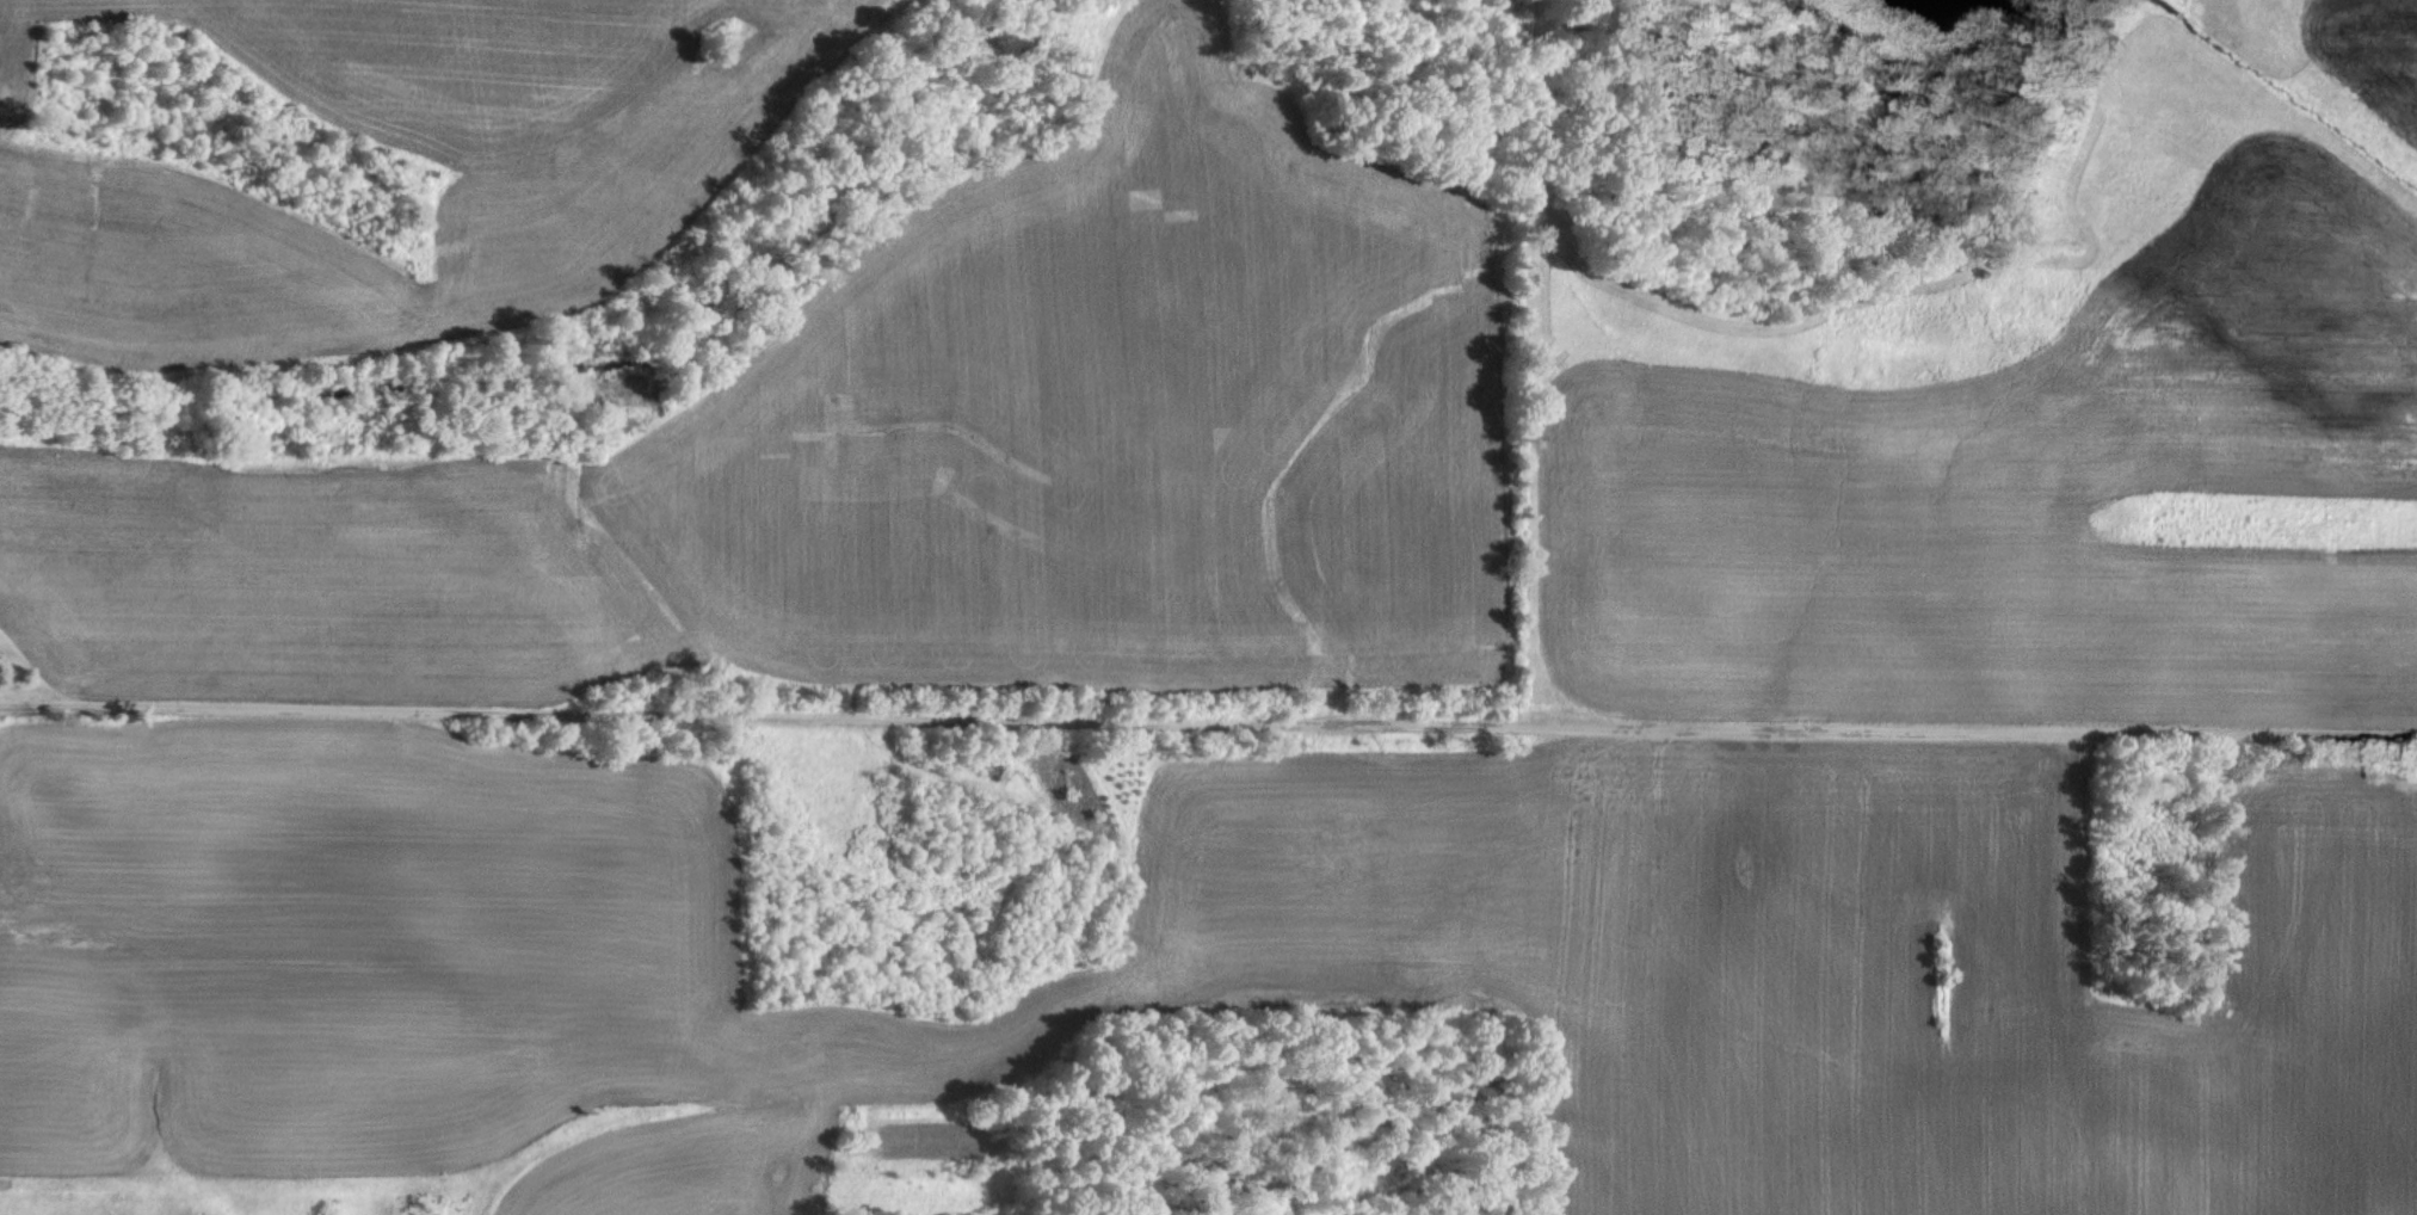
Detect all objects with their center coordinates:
road: (1208, 723)

